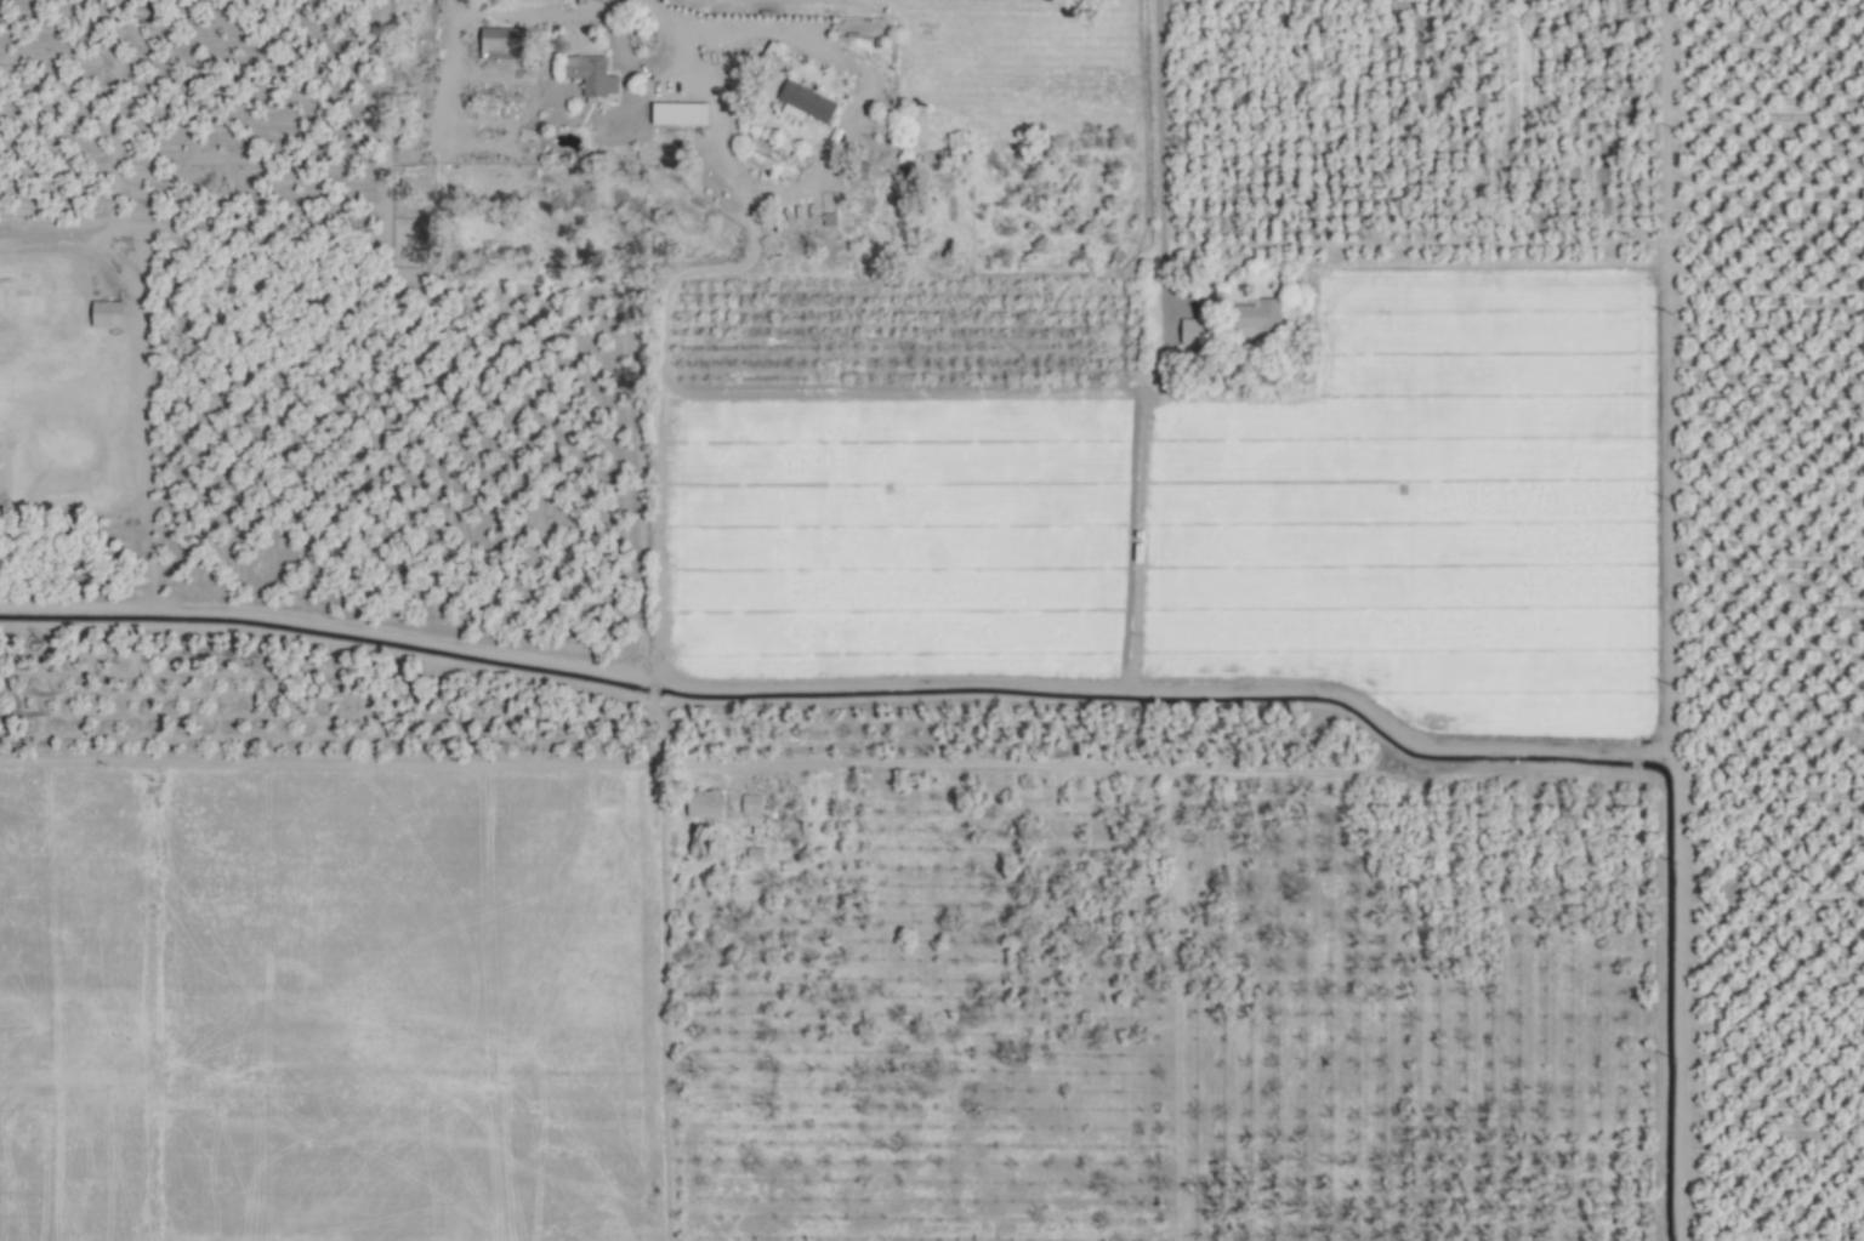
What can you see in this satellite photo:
road: (544, 16)
building: (506, 38)
building: (591, 73)
building: (805, 102)
building: (681, 113)
road: (1161, 161)
building: (108, 313)
building: (1262, 318)
building: (1194, 331)
road: (1665, 380)
crop: (932, 620)
road: (1633, 752)
road: (563, 764)
road: (1635, 764)
building: (705, 804)
building: (751, 804)
building: (755, 854)
crop: (330, 1004)

